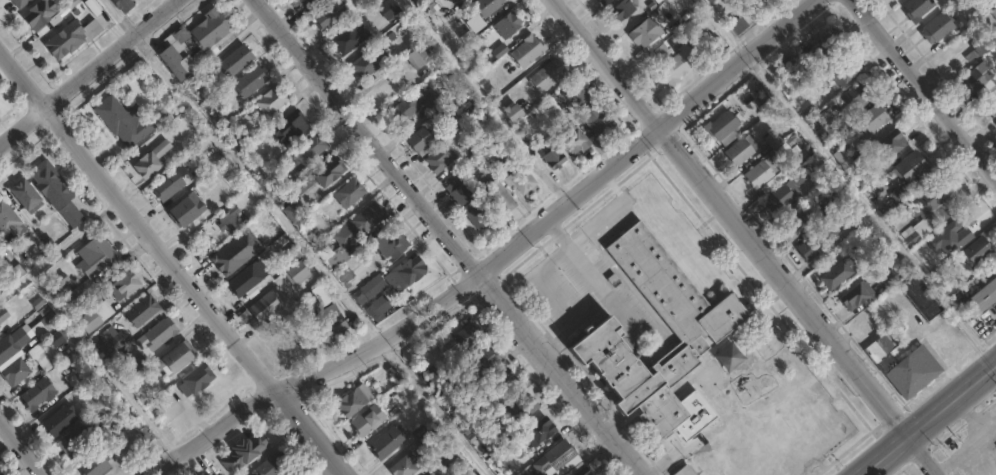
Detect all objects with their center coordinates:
building: (713, 0)
building: (759, 0)
building: (742, 1)
building: (605, 2)
building: (677, 2)
building: (310, 4)
building: (123, 5)
building: (487, 6)
building: (388, 9)
building: (917, 9)
building: (622, 11)
building: (994, 12)
building: (329, 14)
building: (41, 16)
road: (117, 17)
building: (697, 24)
building: (738, 24)
building: (938, 28)
building: (208, 29)
building: (493, 29)
building: (646, 32)
building: (180, 34)
building: (70, 37)
building: (350, 37)
building: (981, 46)
building: (527, 50)
building: (822, 50)
building: (417, 57)
building: (371, 59)
building: (235, 61)
building: (176, 63)
building: (677, 66)
building: (791, 66)
road: (86, 70)
building: (844, 71)
building: (548, 75)
building: (979, 79)
building: (250, 81)
road: (924, 88)
building: (856, 97)
building: (0, 98)
building: (271, 100)
building: (433, 100)
road: (484, 103)
building: (546, 107)
building: (990, 107)
building: (406, 108)
building: (512, 113)
building: (593, 113)
building: (874, 118)
building: (220, 119)
building: (122, 122)
building: (721, 125)
building: (995, 125)
building: (287, 126)
building: (573, 138)
building: (773, 140)
building: (420, 141)
building: (239, 143)
building: (891, 144)
building: (309, 149)
building: (473, 150)
building: (741, 150)
building: (553, 155)
building: (440, 158)
building: (844, 158)
building: (149, 161)
building: (913, 168)
building: (303, 171)
building: (761, 172)
building: (323, 175)
building: (213, 178)
building: (522, 181)
road: (845, 183)
building: (50, 184)
building: (166, 186)
building: (350, 193)
building: (25, 196)
building: (498, 196)
building: (782, 197)
building: (468, 202)
building: (832, 208)
building: (930, 208)
building: (186, 210)
building: (292, 212)
building: (71, 215)
building: (899, 219)
building: (7, 221)
building: (230, 221)
building: (800, 221)
building: (361, 222)
building: (910, 236)
road: (747, 237)
road: (453, 238)
building: (390, 245)
building: (810, 249)
building: (976, 251)
building: (236, 252)
road: (307, 255)
road: (500, 260)
road: (169, 263)
building: (91, 267)
building: (340, 269)
building: (296, 272)
building: (406, 272)
building: (837, 274)
building: (247, 279)
building: (890, 279)
building: (58, 282)
building: (124, 286)
building: (370, 287)
building: (859, 296)
building: (921, 298)
building: (983, 298)
building: (268, 304)
building: (379, 308)
building: (326, 310)
building: (142, 311)
building: (3, 315)
building: (95, 317)
building: (44, 325)
building: (697, 330)
building: (159, 334)
building: (110, 341)
building: (459, 341)
building: (13, 343)
building: (175, 359)
building: (479, 365)
building: (903, 365)
road: (994, 368)
building: (15, 372)
building: (82, 372)
building: (127, 374)
building: (430, 376)
building: (197, 379)
building: (500, 385)
building: (92, 389)
building: (36, 394)
building: (353, 401)
building: (451, 403)
building: (518, 406)
road: (985, 416)
road: (928, 419)
building: (59, 420)
building: (467, 420)
building: (368, 421)
building: (539, 430)
road: (973, 438)
building: (77, 440)
building: (429, 440)
building: (388, 441)
road: (22, 446)
building: (243, 454)
building: (557, 458)
building: (269, 465)
building: (405, 465)
building: (95, 466)
road: (183, 467)
building: (579, 469)
building: (683, 470)
building: (290, 473)
building: (433, 473)

